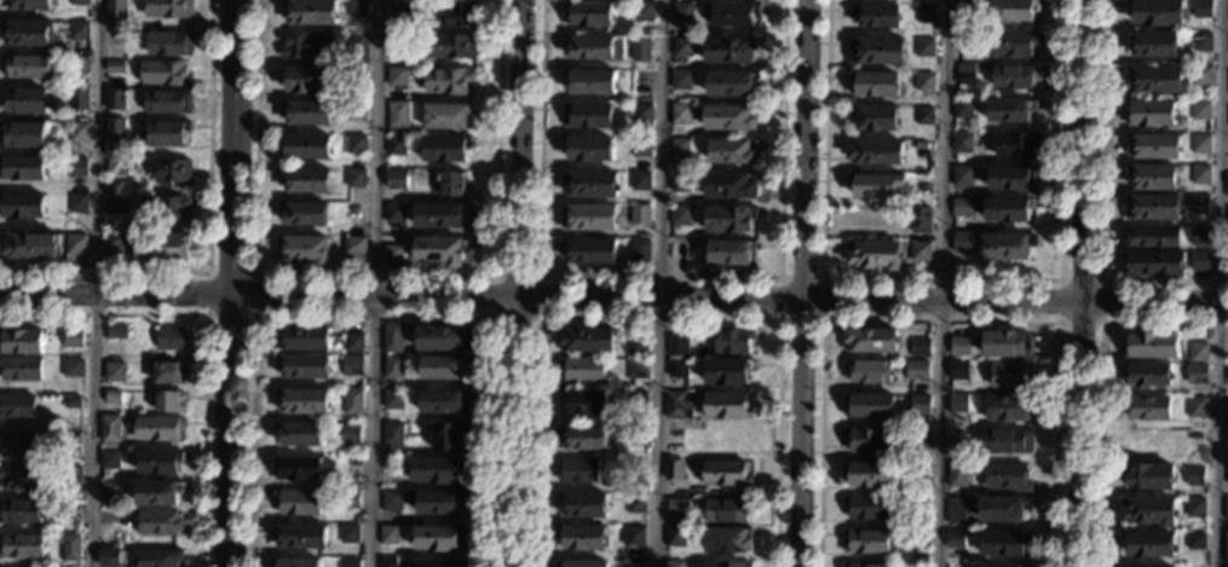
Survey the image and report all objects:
building: (79, 2)
building: (28, 5)
building: (399, 6)
building: (417, 6)
building: (963, 7)
building: (115, 8)
building: (168, 8)
building: (358, 8)
building: (1201, 8)
building: (642, 11)
building: (1013, 11)
building: (310, 12)
building: (681, 12)
building: (1158, 12)
building: (924, 13)
building: (460, 15)
building: (588, 15)
building: (733, 16)
building: (876, 16)
building: (79, 30)
building: (29, 34)
building: (117, 37)
building: (963, 40)
building: (1201, 42)
building: (1011, 44)
building: (168, 45)
building: (397, 45)
building: (1154, 45)
building: (304, 46)
building: (357, 46)
building: (450, 46)
building: (594, 47)
building: (681, 47)
building: (640, 48)
building: (923, 48)
building: (730, 51)
building: (876, 52)
building: (77, 65)
building: (27, 66)
building: (114, 66)
building: (163, 73)
building: (1011, 76)
building: (1201, 76)
building: (357, 77)
building: (397, 77)
building: (964, 79)
building: (305, 80)
building: (681, 80)
building: (1157, 80)
building: (448, 81)
building: (593, 82)
building: (923, 82)
building: (731, 83)
building: (872, 85)
building: (77, 99)
building: (114, 99)
building: (25, 100)
building: (168, 102)
building: (962, 109)
building: (356, 110)
building: (1010, 110)
building: (1199, 110)
building: (307, 112)
building: (641, 114)
building: (680, 114)
building: (1151, 115)
building: (588, 116)
building: (923, 116)
building: (448, 117)
building: (730, 117)
building: (398, 118)
building: (874, 118)
building: (115, 128)
building: (77, 132)
building: (1205, 132)
building: (163, 133)
building: (623, 133)
building: (25, 134)
building: (961, 143)
building: (356, 144)
building: (1200, 144)
building: (396, 145)
building: (1016, 145)
building: (306, 146)
building: (640, 147)
building: (680, 147)
road: (802, 147)
building: (1152, 147)
building: (445, 149)
building: (589, 149)
building: (922, 149)
building: (733, 151)
building: (876, 152)
building: (77, 166)
building: (116, 166)
building: (23, 168)
building: (171, 172)
building: (1199, 174)
building: (961, 177)
building: (1153, 177)
building: (356, 178)
building: (1010, 178)
building: (306, 180)
building: (397, 180)
building: (640, 181)
building: (680, 183)
building: (921, 183)
building: (452, 184)
building: (590, 184)
building: (731, 185)
building: (875, 185)
building: (76, 203)
road: (1101, 203)
building: (114, 204)
building: (1198, 204)
building: (22, 207)
building: (962, 207)
building: (1152, 207)
building: (166, 208)
building: (1008, 209)
building: (304, 213)
building: (354, 213)
building: (394, 213)
building: (443, 215)
building: (640, 215)
building: (680, 215)
building: (589, 219)
building: (730, 219)
building: (918, 220)
building: (1199, 236)
road: (207, 237)
building: (1152, 237)
building: (959, 241)
building: (75, 244)
building: (354, 245)
building: (31, 247)
building: (113, 247)
building: (161, 247)
building: (1005, 247)
building: (305, 249)
building: (679, 249)
building: (442, 250)
building: (589, 251)
building: (640, 251)
building: (919, 251)
building: (732, 253)
building: (393, 254)
building: (874, 255)
building: (1227, 260)
building: (1198, 261)
building: (1153, 264)
road: (376, 276)
road: (658, 276)
road: (941, 279)
road: (94, 283)
road: (229, 283)
road: (375, 283)
road: (517, 283)
road: (658, 283)
road: (938, 283)
road: (1080, 283)
road: (1221, 283)
road: (399, 295)
road: (940, 299)
road: (1154, 301)
road: (534, 314)
road: (252, 317)
road: (655, 317)
road: (371, 318)
road: (821, 318)
road: (938, 319)
road: (1101, 323)
building: (116, 331)
building: (444, 337)
building: (74, 339)
building: (171, 339)
road: (203, 339)
building: (393, 339)
building: (305, 340)
building: (588, 340)
building: (734, 341)
building: (870, 341)
building: (21, 342)
building: (353, 342)
building: (678, 345)
building: (1008, 345)
building: (959, 346)
building: (1152, 346)
building: (638, 347)
building: (919, 348)
building: (1227, 351)
building: (1198, 352)
building: (306, 366)
building: (352, 366)
building: (73, 368)
building: (393, 368)
building: (444, 368)
building: (676, 368)
building: (21, 369)
building: (582, 369)
building: (635, 369)
building: (917, 370)
building: (958, 370)
building: (728, 371)
building: (869, 371)
building: (114, 372)
building: (169, 372)
building: (1227, 374)
building: (1009, 375)
building: (1147, 375)
building: (1197, 375)
road: (1100, 381)
building: (114, 398)
building: (393, 399)
building: (638, 400)
building: (73, 401)
building: (305, 401)
building: (353, 401)
building: (445, 401)
building: (171, 403)
building: (584, 403)
building: (957, 403)
building: (919, 404)
building: (679, 405)
building: (17, 406)
building: (726, 406)
building: (869, 406)
building: (1008, 407)
building: (1148, 407)
building: (1195, 407)
building: (1227, 407)
building: (110, 429)
building: (161, 429)
road: (800, 432)
building: (300, 434)
building: (393, 434)
building: (351, 435)
building: (638, 435)
building: (450, 436)
building: (956, 436)
building: (584, 438)
building: (917, 439)
building: (869, 440)
building: (1007, 441)
building: (1226, 441)
building: (71, 444)
building: (1148, 444)
building: (22, 446)
building: (110, 459)
building: (161, 462)
building: (639, 463)
building: (352, 465)
building: (390, 465)
building: (298, 469)
building: (674, 469)
building: (439, 470)
building: (578, 470)
building: (917, 471)
building: (870, 473)
building: (71, 474)
building: (726, 474)
building: (956, 474)
building: (1227, 475)
building: (1149, 476)
building: (1194, 476)
building: (1007, 478)
building: (19, 479)
building: (110, 490)
building: (160, 493)
building: (351, 499)
building: (392, 501)
building: (299, 502)
building: (440, 502)
building: (917, 502)
building: (636, 504)
building: (584, 505)
building: (866, 507)
building: (678, 508)
building: (1194, 508)
building: (1224, 508)
building: (1003, 509)
building: (728, 510)
building: (956, 510)
building: (1148, 511)
building: (21, 513)
building: (161, 522)
building: (110, 525)
building: (350, 532)
building: (390, 534)
building: (301, 536)
building: (633, 536)
building: (916, 536)
building: (675, 537)
building: (440, 538)
building: (583, 538)
building: (728, 540)
building: (956, 540)
building: (1195, 540)
building: (866, 542)
building: (1005, 544)
building: (1148, 544)
building: (22, 545)
building: (1226, 545)
building: (69, 546)
building: (111, 557)
building: (155, 557)
building: (296, 562)
building: (388, 562)
building: (439, 562)
building: (351, 563)
building: (582, 563)
building: (634, 563)
building: (675, 563)
building: (725, 565)
building: (864, 565)
building: (1003, 565)
building: (1151, 566)

